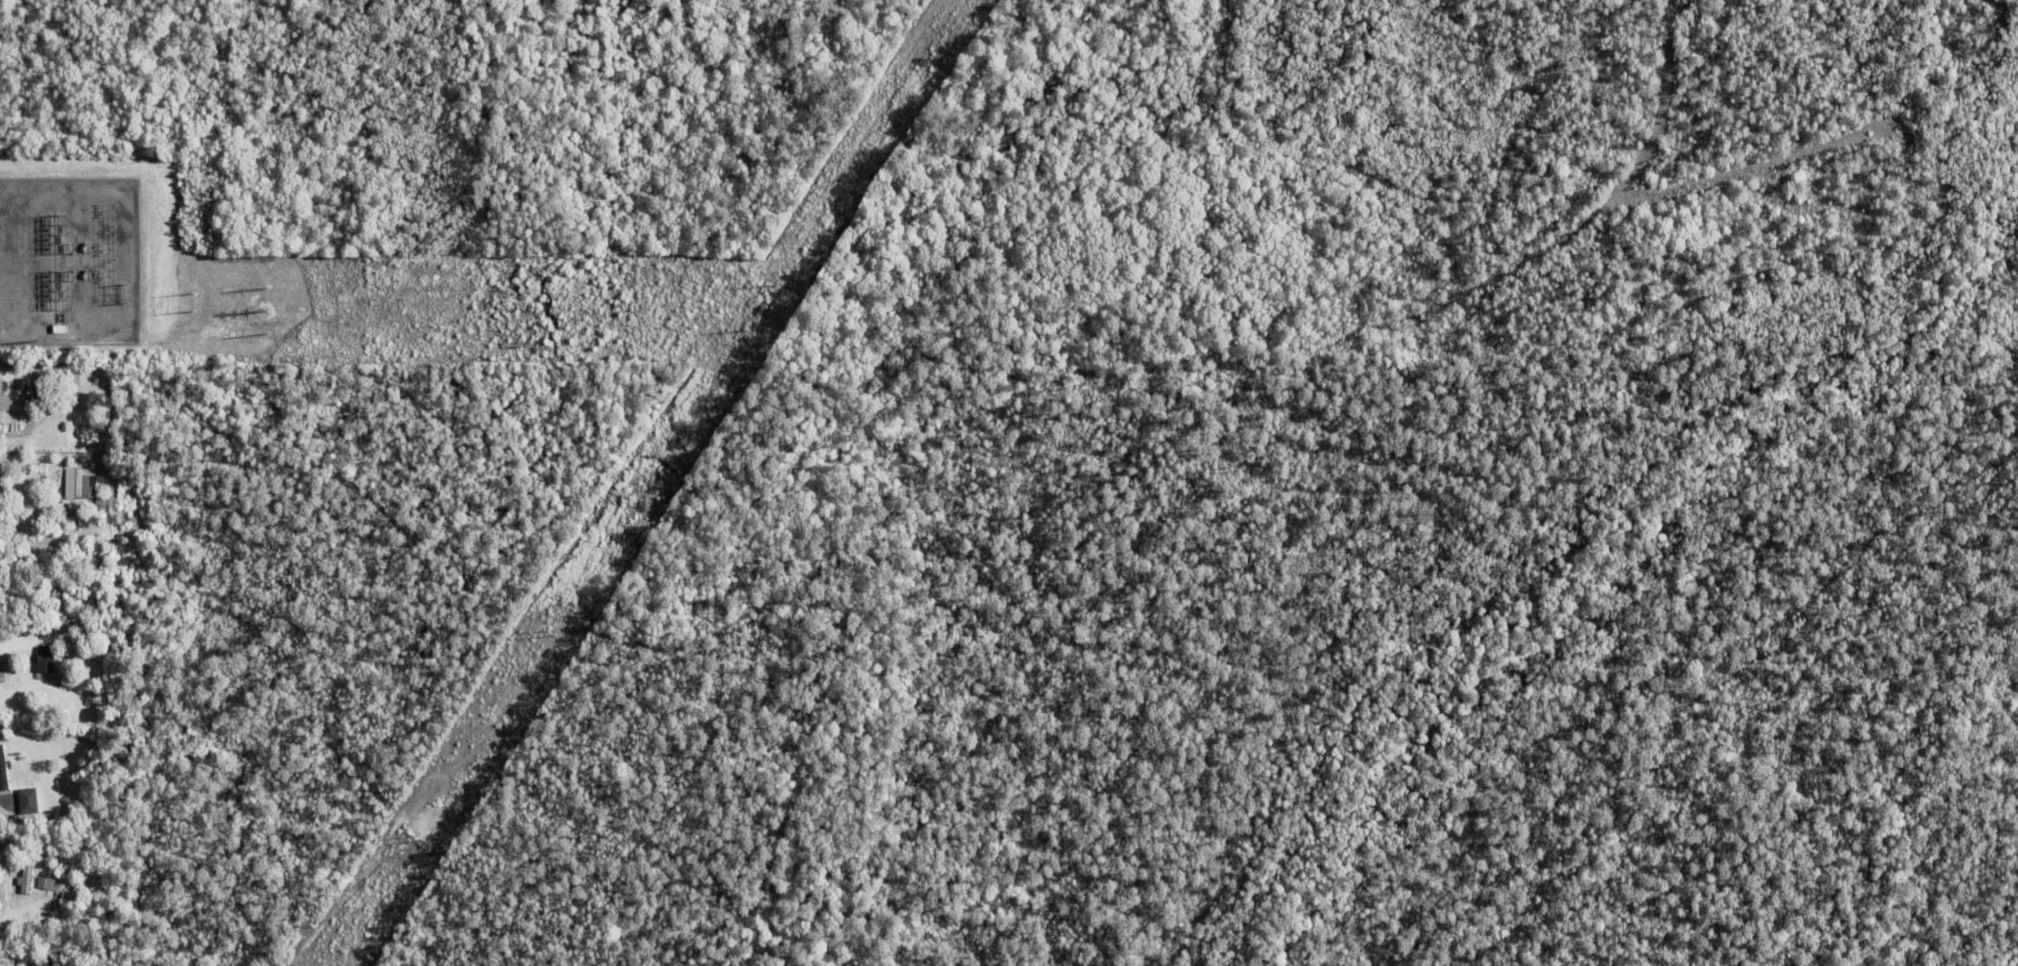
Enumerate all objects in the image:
building: (51, 382)
building: (3, 402)
building: (86, 489)
building: (3, 491)
road: (29, 520)
building: (20, 578)
building: (38, 644)
building: (42, 660)
building: (3, 774)
building: (25, 800)
building: (74, 852)
building: (34, 882)
building: (40, 903)
building: (47, 964)
building: (74, 964)

